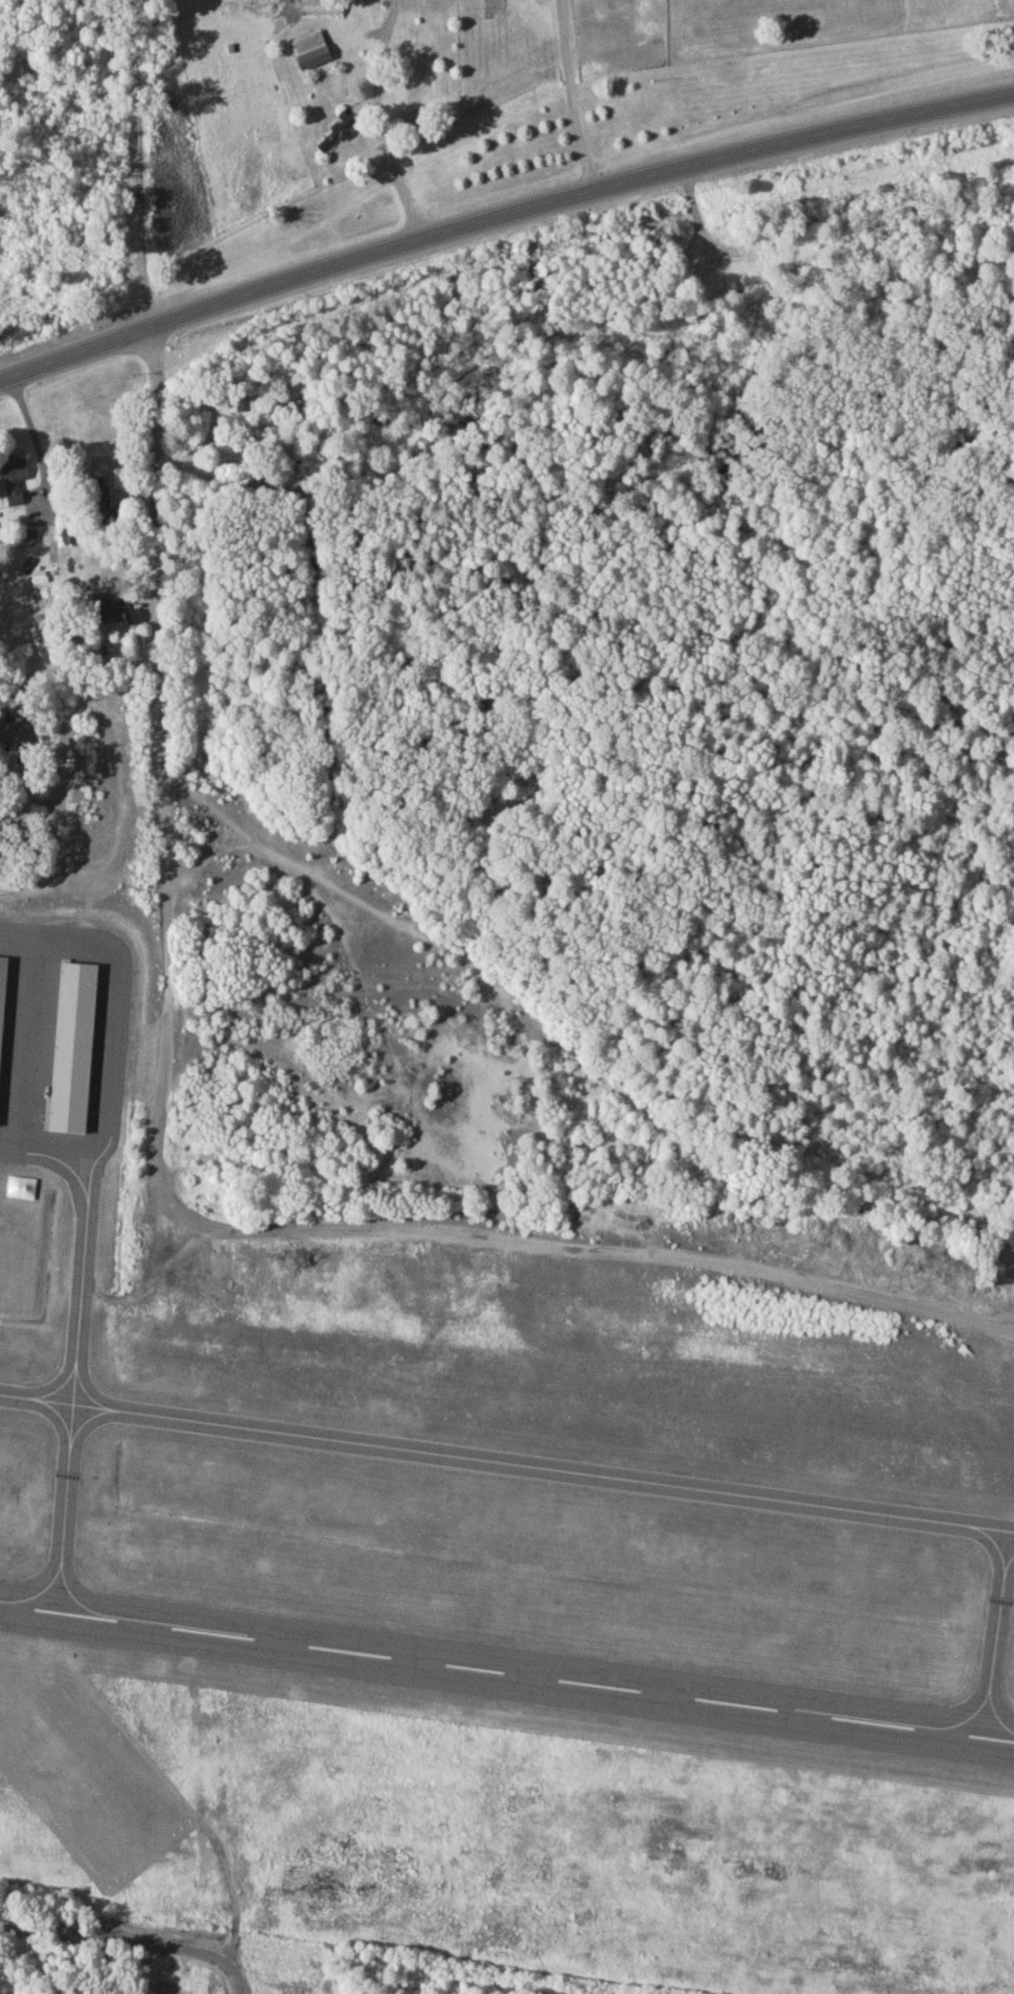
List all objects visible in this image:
building: (322, 9)
building: (312, 54)
road: (571, 97)
building: (339, 137)
road: (389, 174)
road: (501, 218)
building: (235, 407)
road: (35, 446)
building: (15, 483)
building: (104, 512)
building: (28, 541)
building: (39, 595)
building: (112, 610)
road: (87, 671)
building: (19, 735)
road: (159, 770)
building: (23, 820)
road: (6, 921)
building: (3, 1010)
road: (384, 1230)
airport taxiway: (84, 1256)
airport taxiway: (507, 1465)
airport: (477, 1594)
airport taxiway: (995, 1638)
airport runway: (507, 1677)
road: (96, 1937)
road: (219, 1970)

